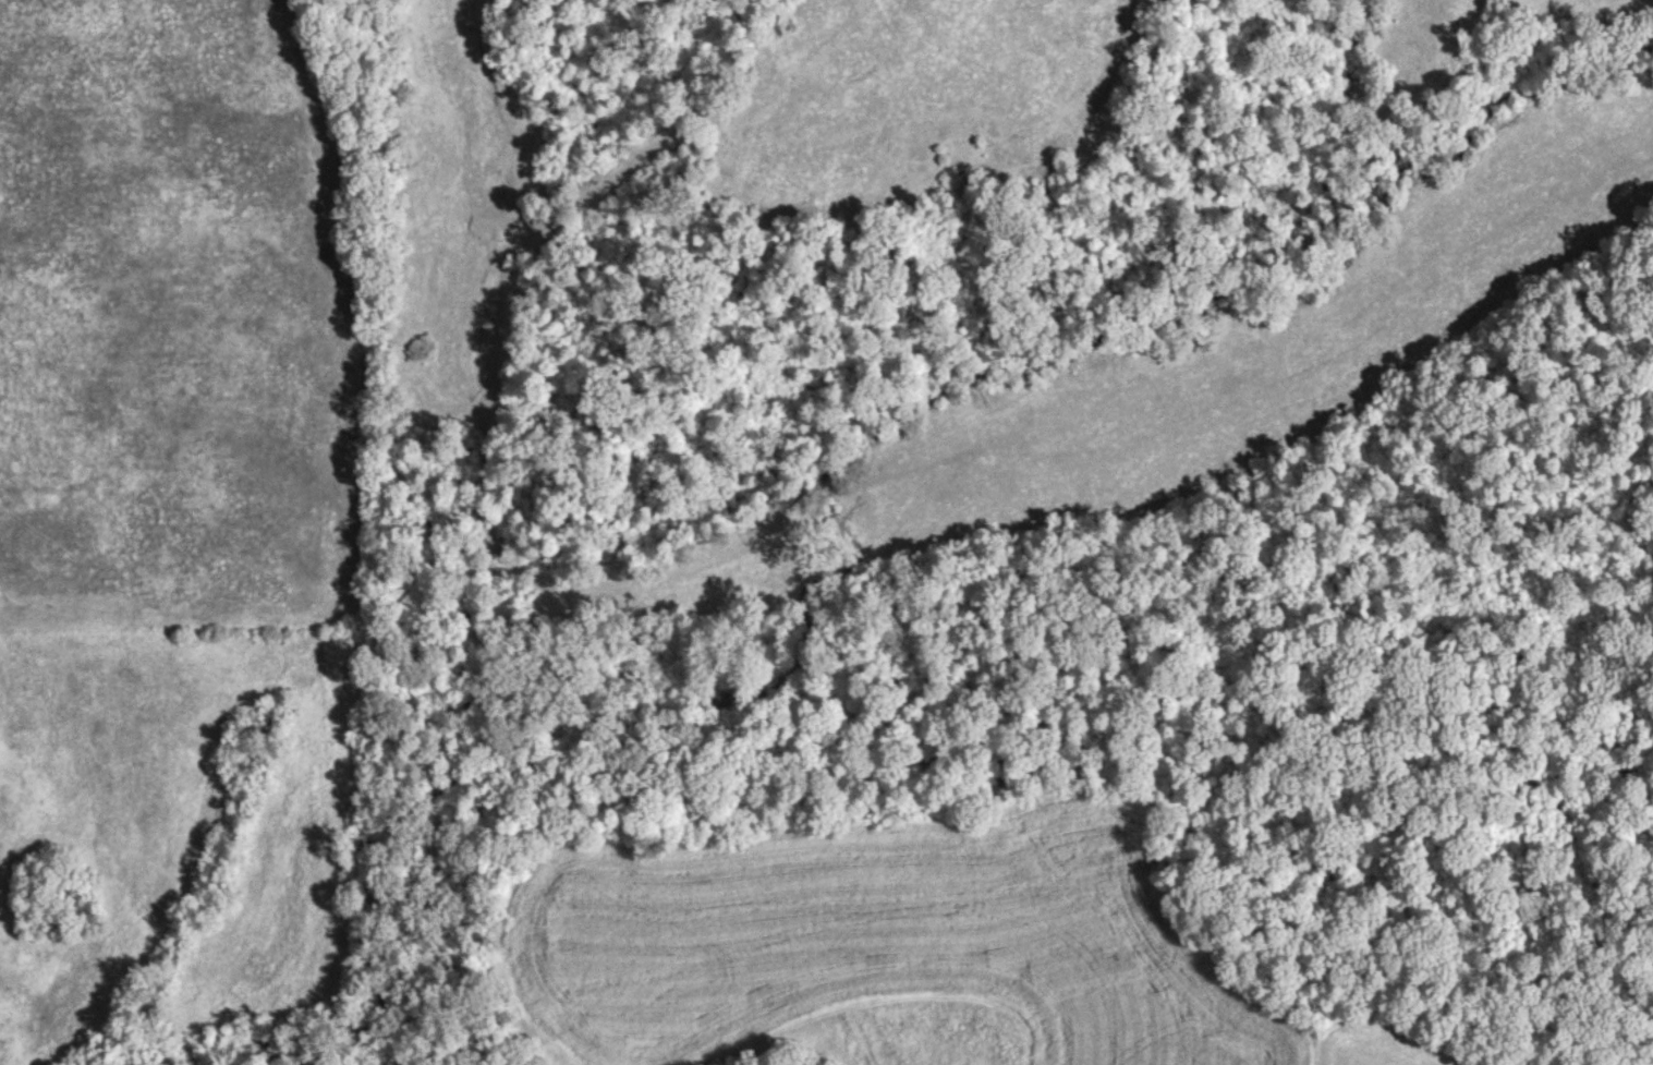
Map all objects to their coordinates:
building: (1167, 222)

